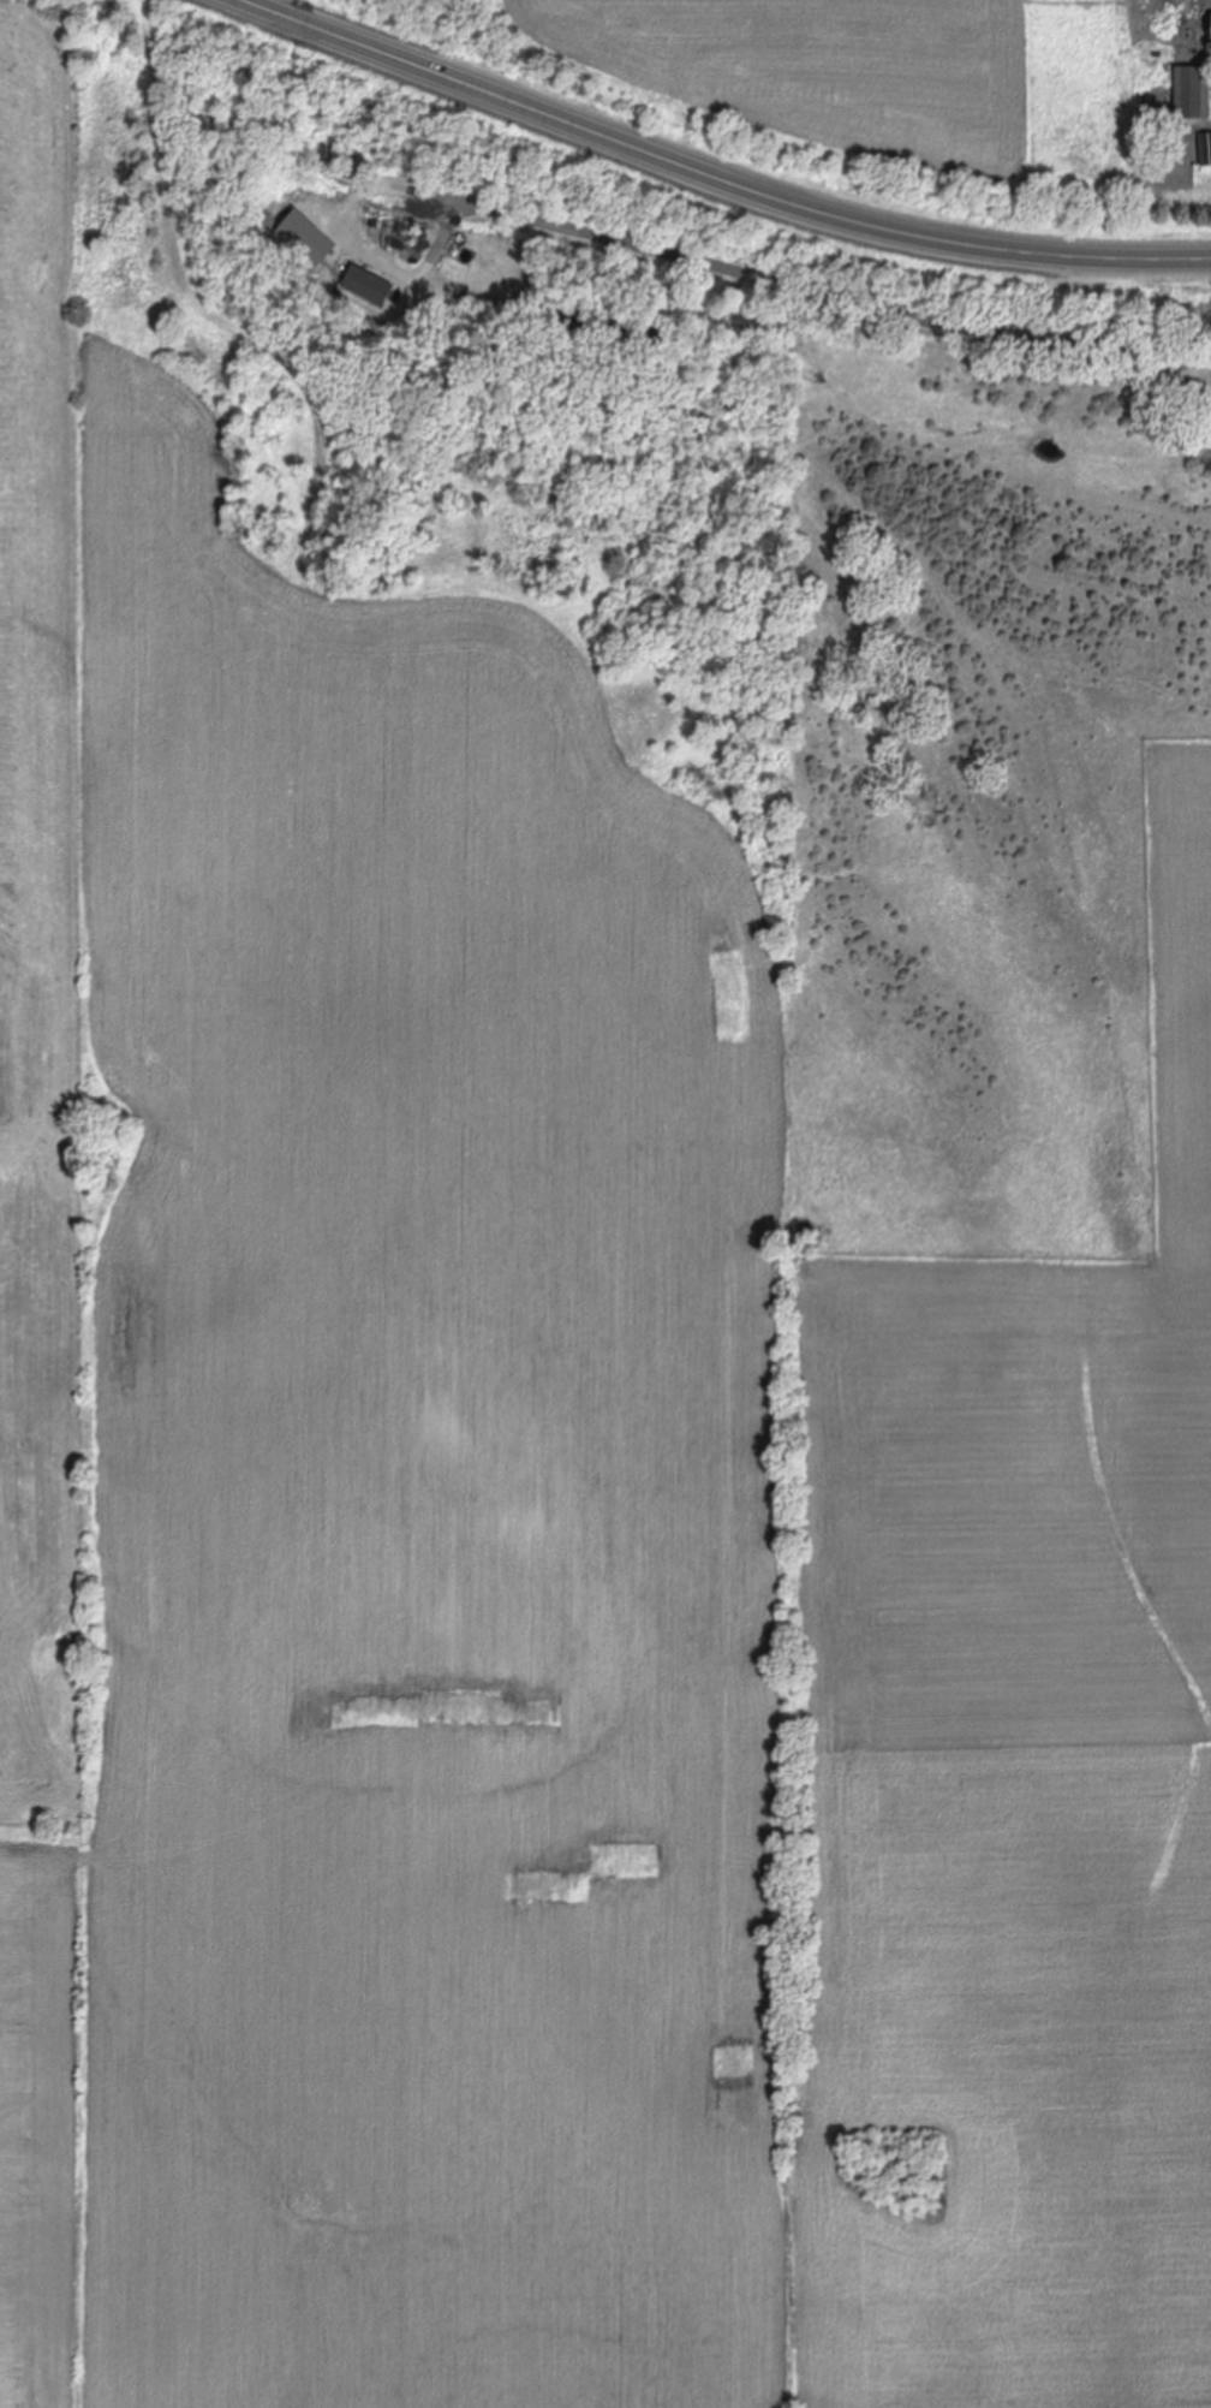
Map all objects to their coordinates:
building: (1192, 93)
building: (1205, 149)
road: (710, 178)
road: (815, 296)
crop: (603, 1423)

